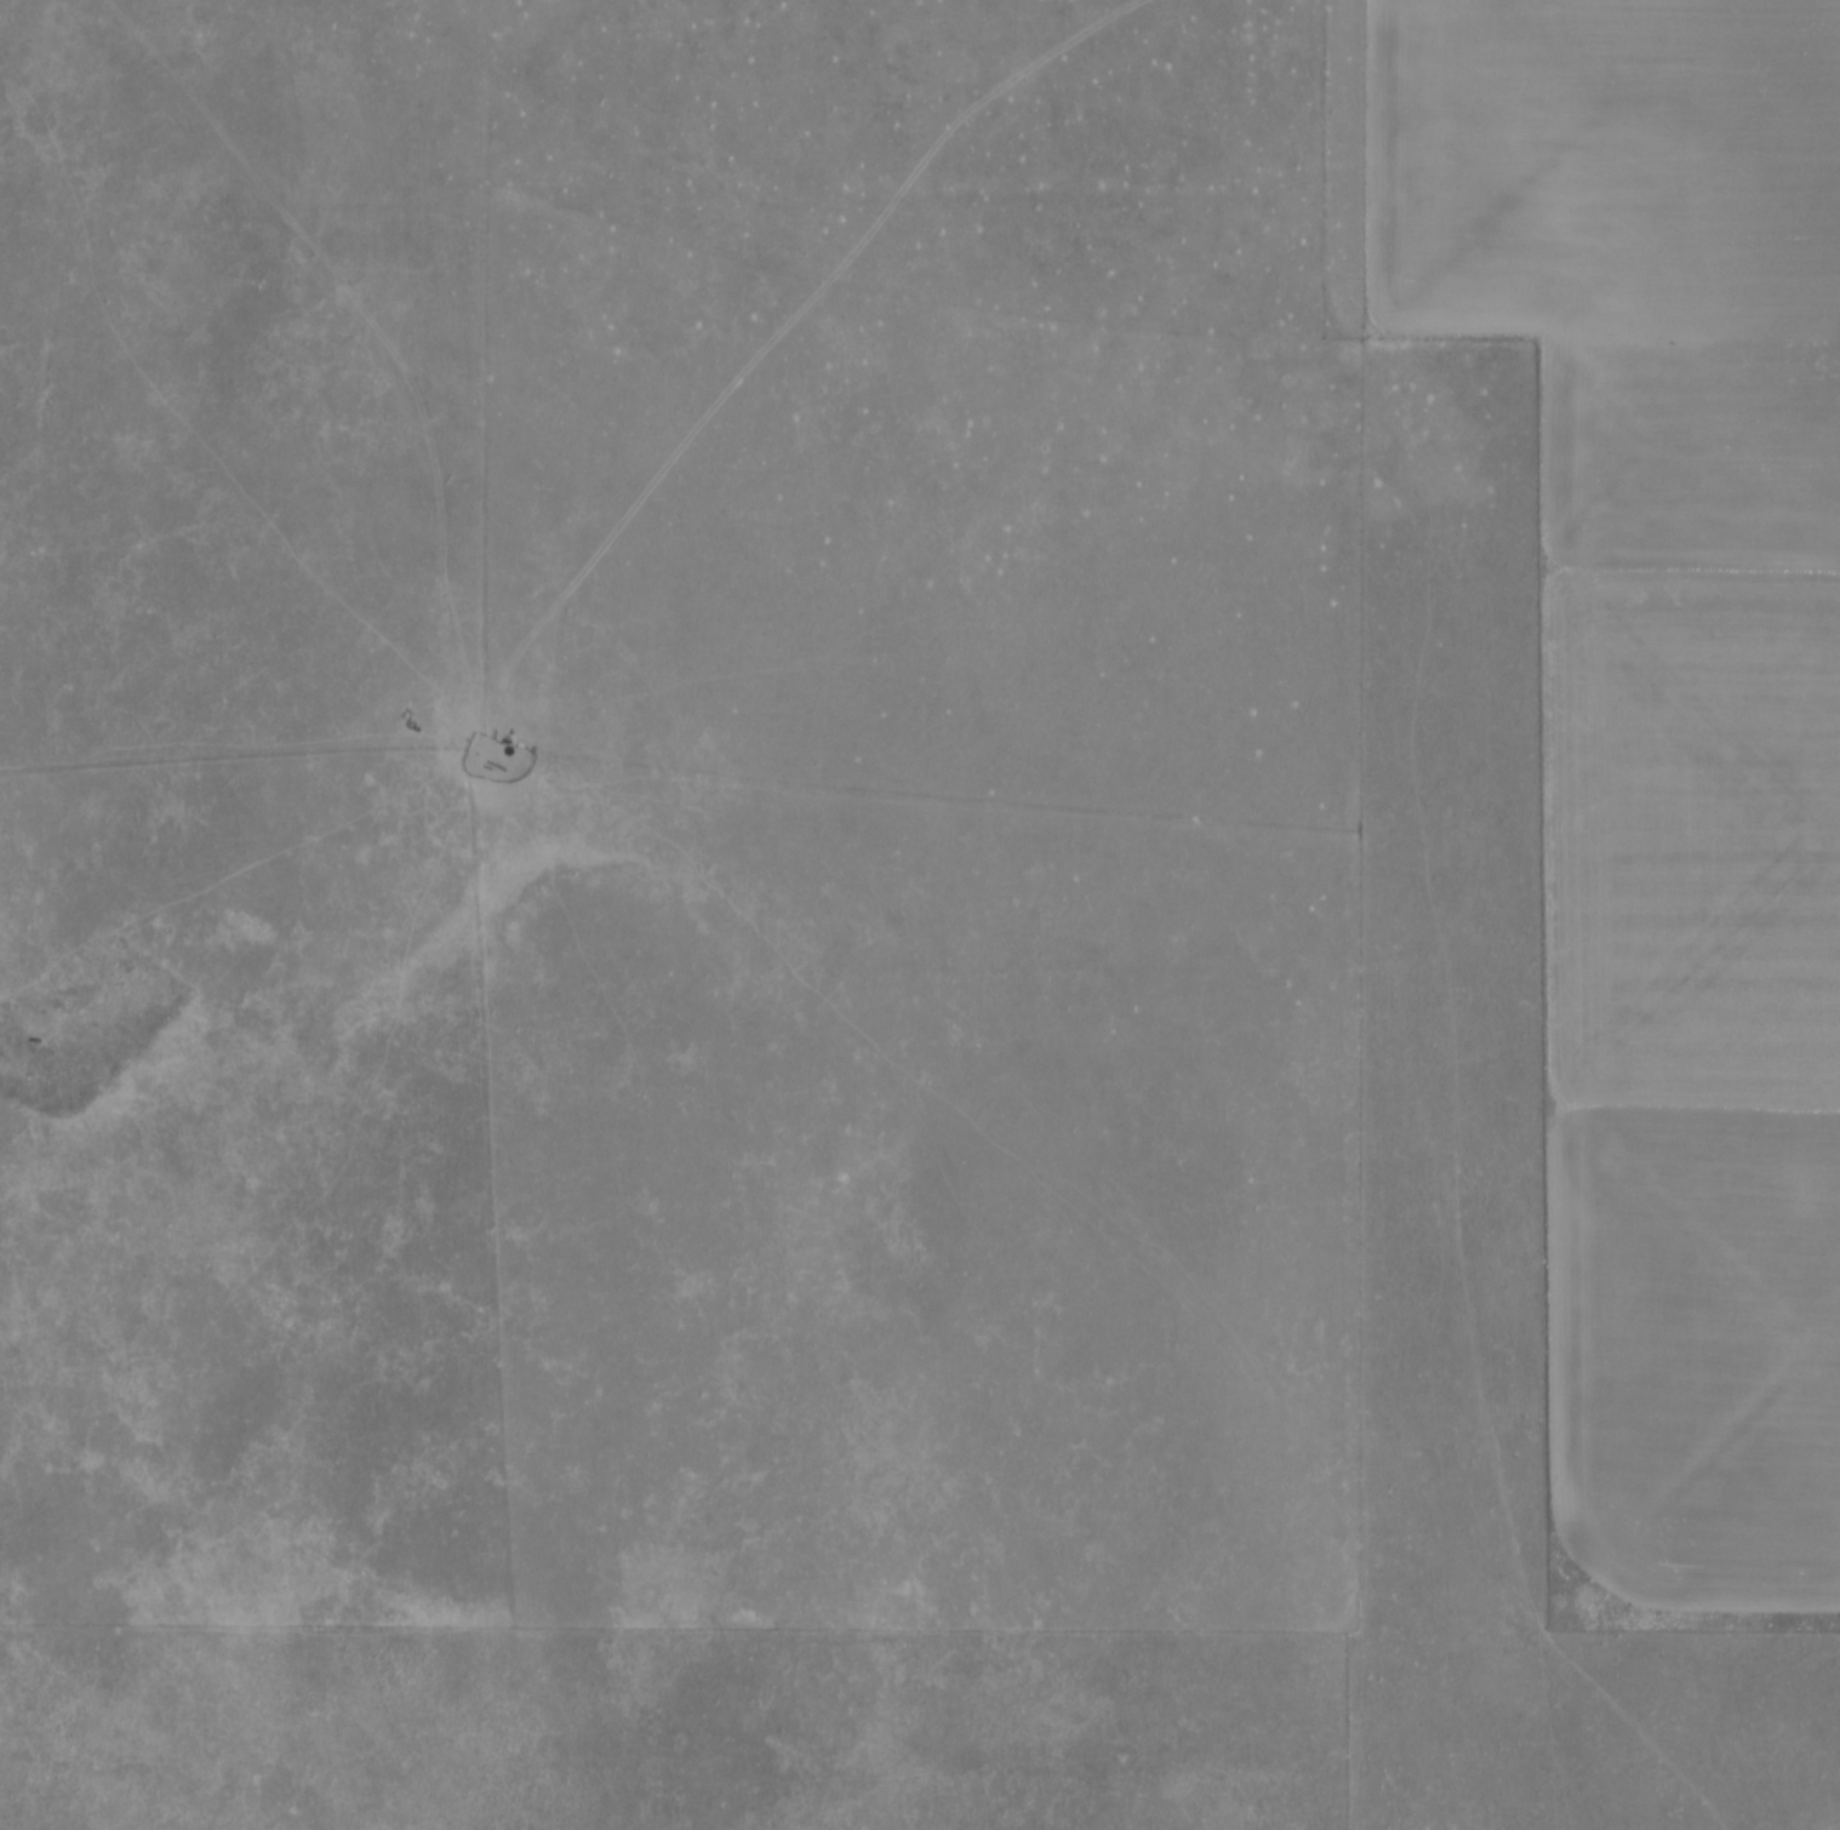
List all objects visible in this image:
crop: (1600, 171)

